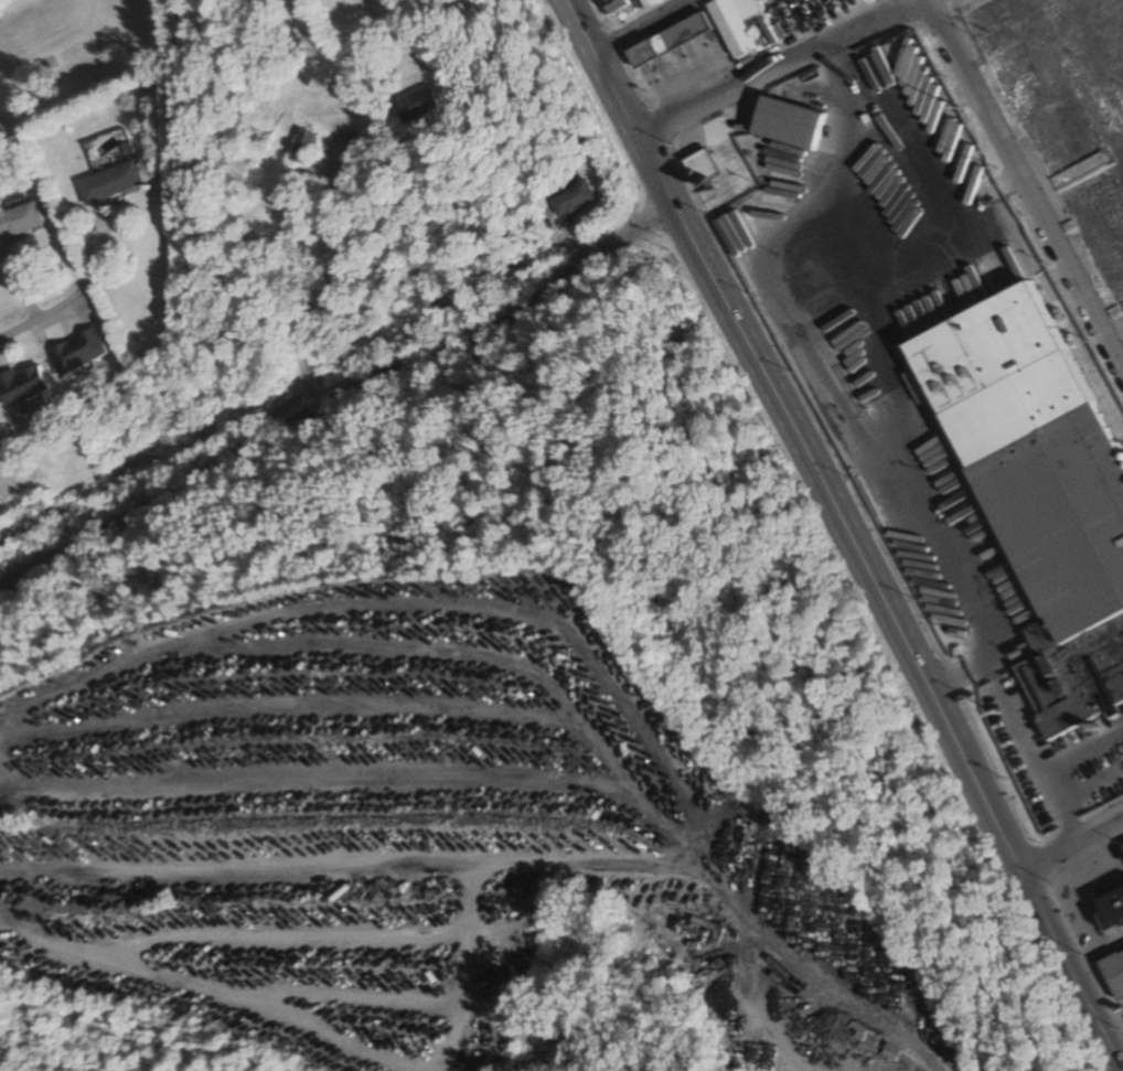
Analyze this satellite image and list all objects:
building: (613, 6)
building: (738, 24)
road: (639, 25)
building: (667, 41)
road: (597, 68)
road: (778, 69)
building: (408, 104)
building: (788, 124)
building: (1082, 124)
building: (301, 148)
building: (700, 168)
building: (108, 182)
road: (1023, 188)
building: (570, 200)
building: (19, 219)
road: (69, 296)
building: (76, 352)
road: (335, 385)
building: (20, 386)
road: (836, 505)
building: (1054, 532)
building: (1122, 847)
road: (1073, 853)
building: (14, 875)
building: (1110, 910)
road: (1095, 951)
building: (1112, 971)
road: (819, 972)
road: (1072, 975)
building: (888, 1052)
road: (1120, 1059)

